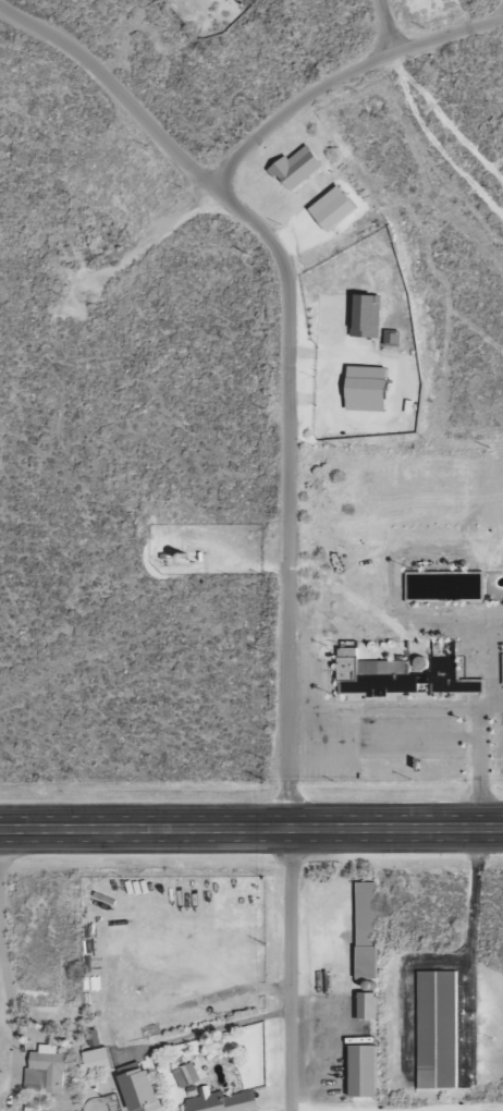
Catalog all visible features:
building: (198, 0)
road: (389, 26)
road: (265, 133)
building: (298, 167)
road: (292, 350)
building: (444, 587)
road: (338, 623)
building: (372, 674)
building: (451, 679)
road: (389, 712)
road: (250, 828)
building: (367, 930)
road: (291, 968)
road: (11, 1000)
building: (437, 1029)
road: (206, 1034)
building: (97, 1062)
building: (46, 1071)
building: (139, 1088)
building: (217, 1102)
road: (450, 1109)

